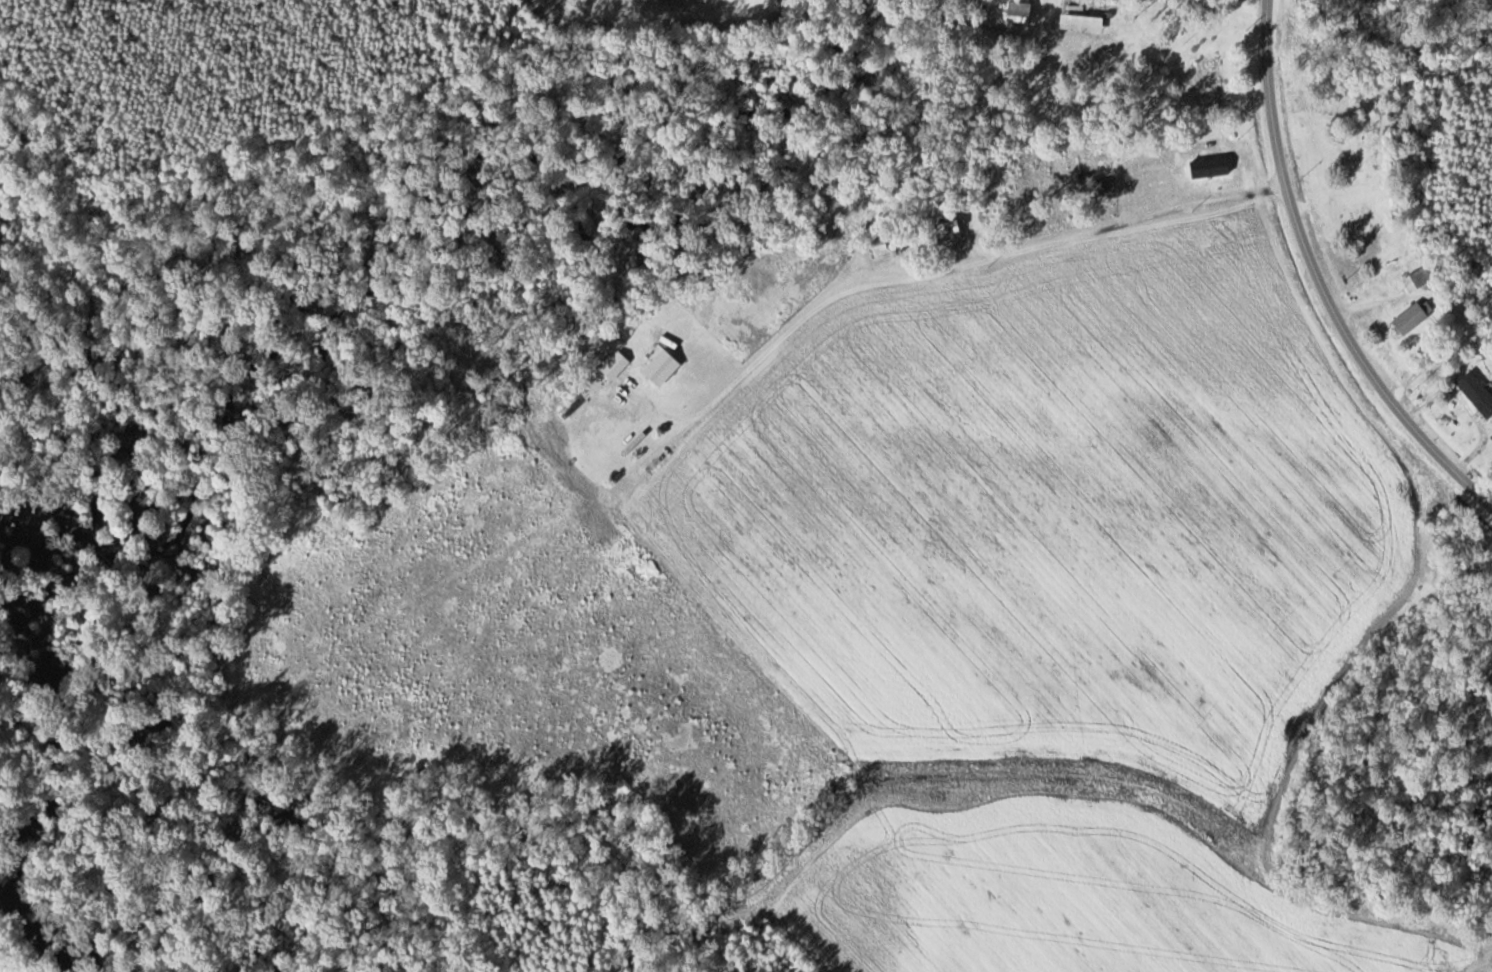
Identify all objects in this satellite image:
building: (1018, 12)
building: (1081, 23)
building: (1210, 83)
building: (1095, 191)
building: (948, 233)
building: (883, 248)
building: (1418, 279)
road: (1317, 281)
building: (1412, 317)
building: (615, 365)
building: (661, 368)
river: (352, 384)
building: (1482, 400)
river: (9, 901)
river: (20, 946)

